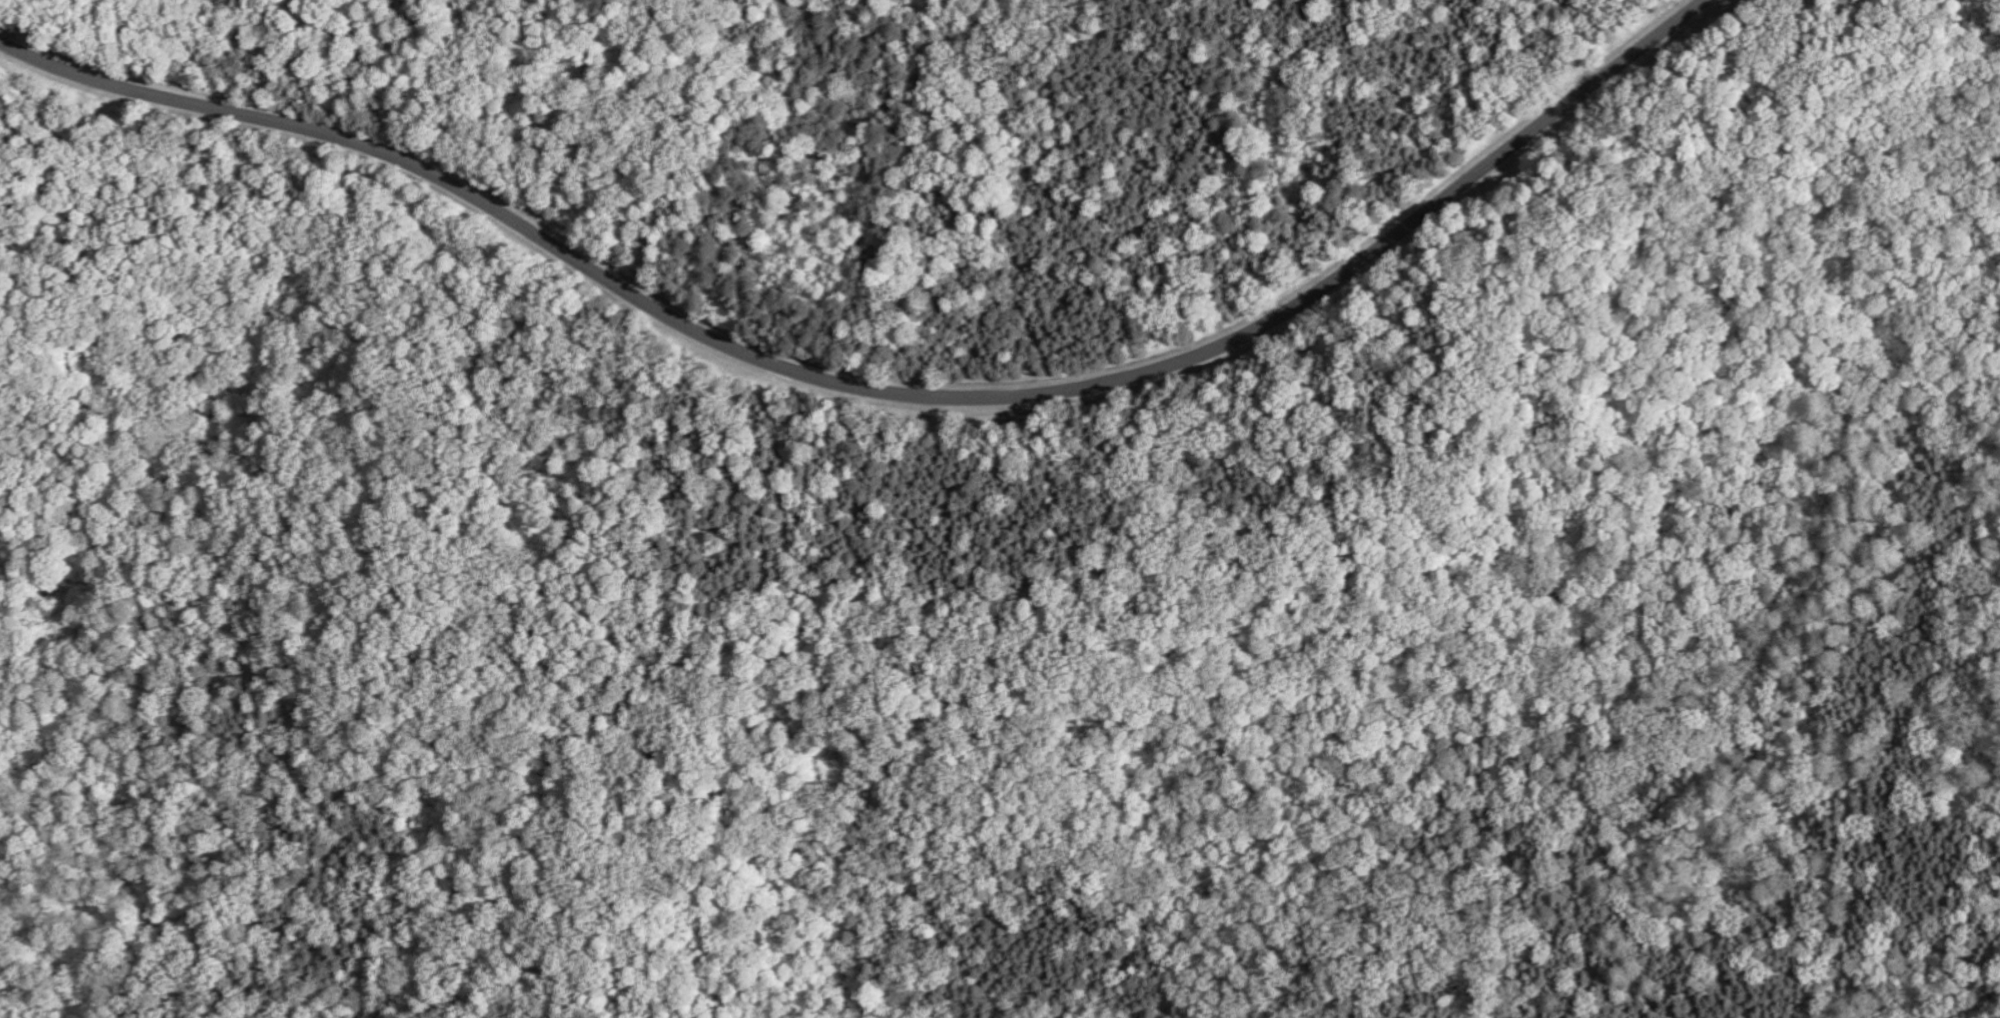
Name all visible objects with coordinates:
road: (884, 389)

